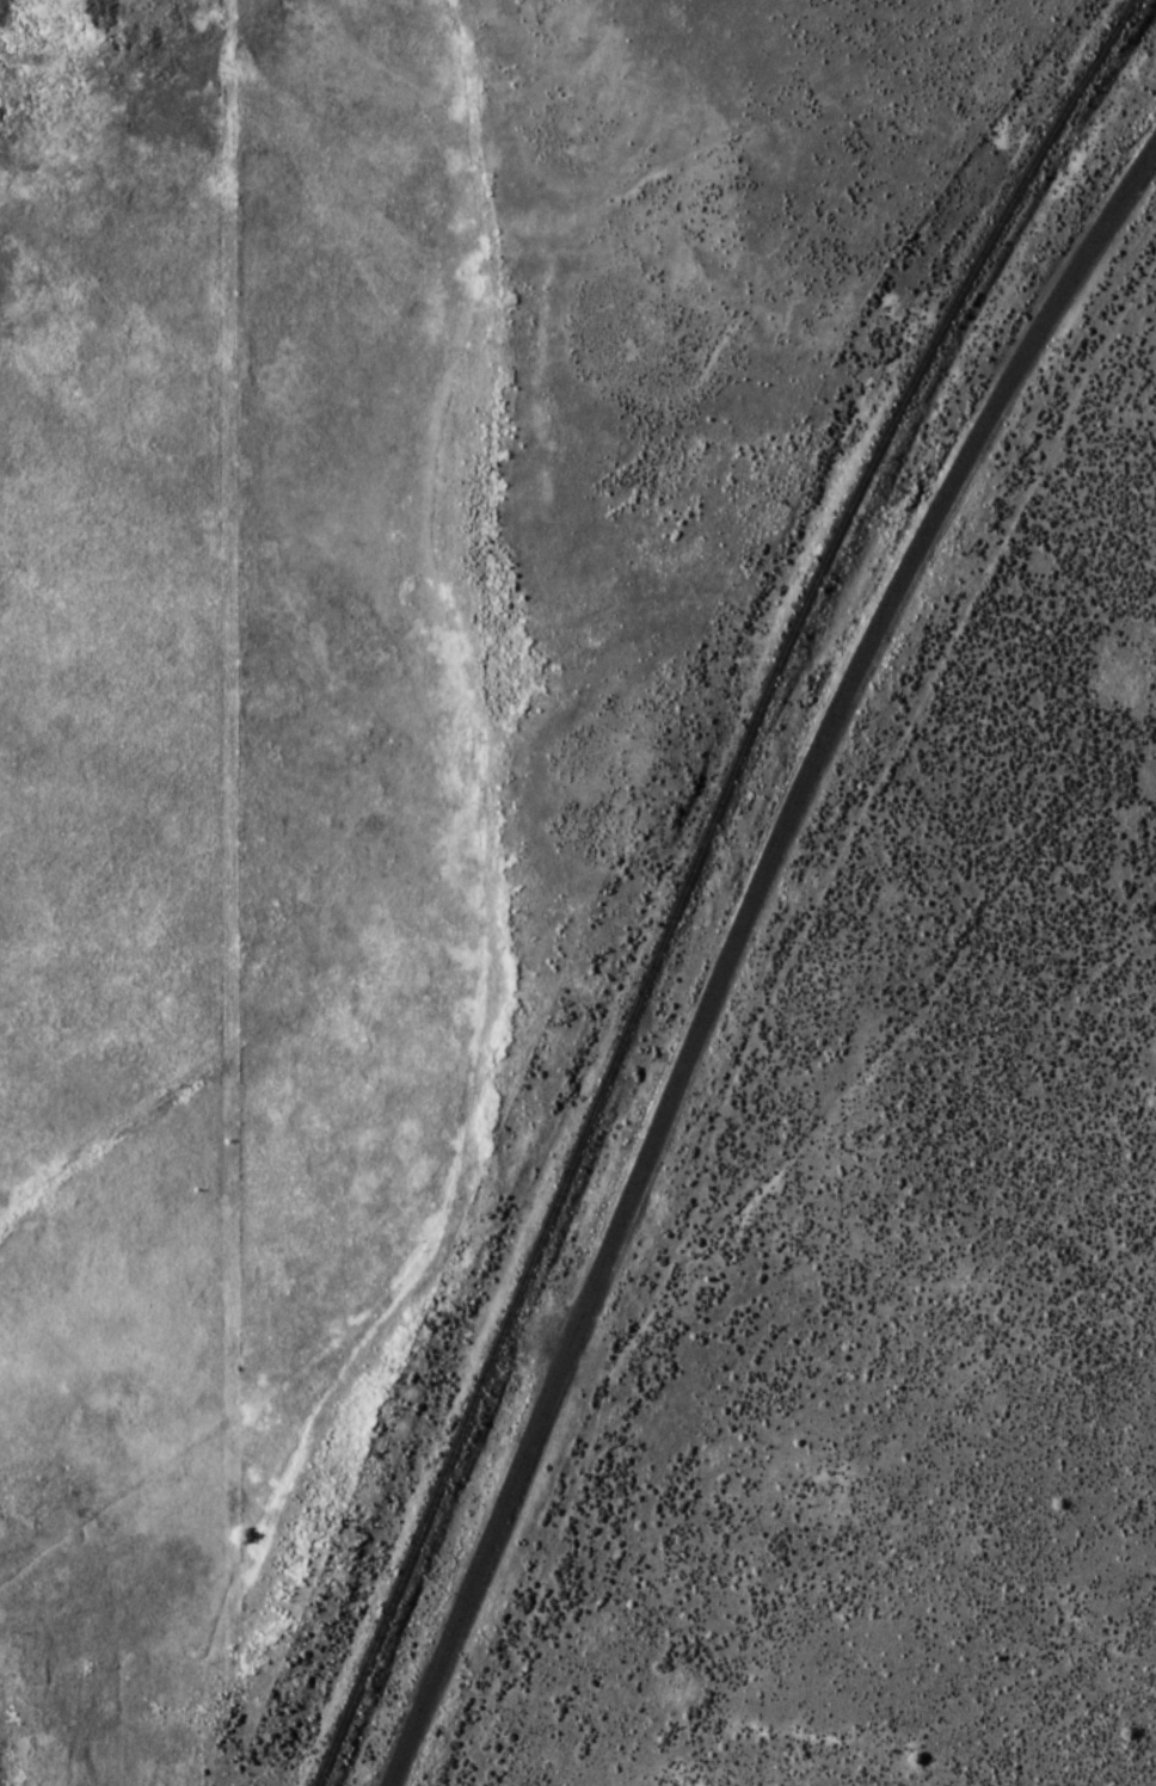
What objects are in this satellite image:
railway: (688, 874)
road: (731, 944)

